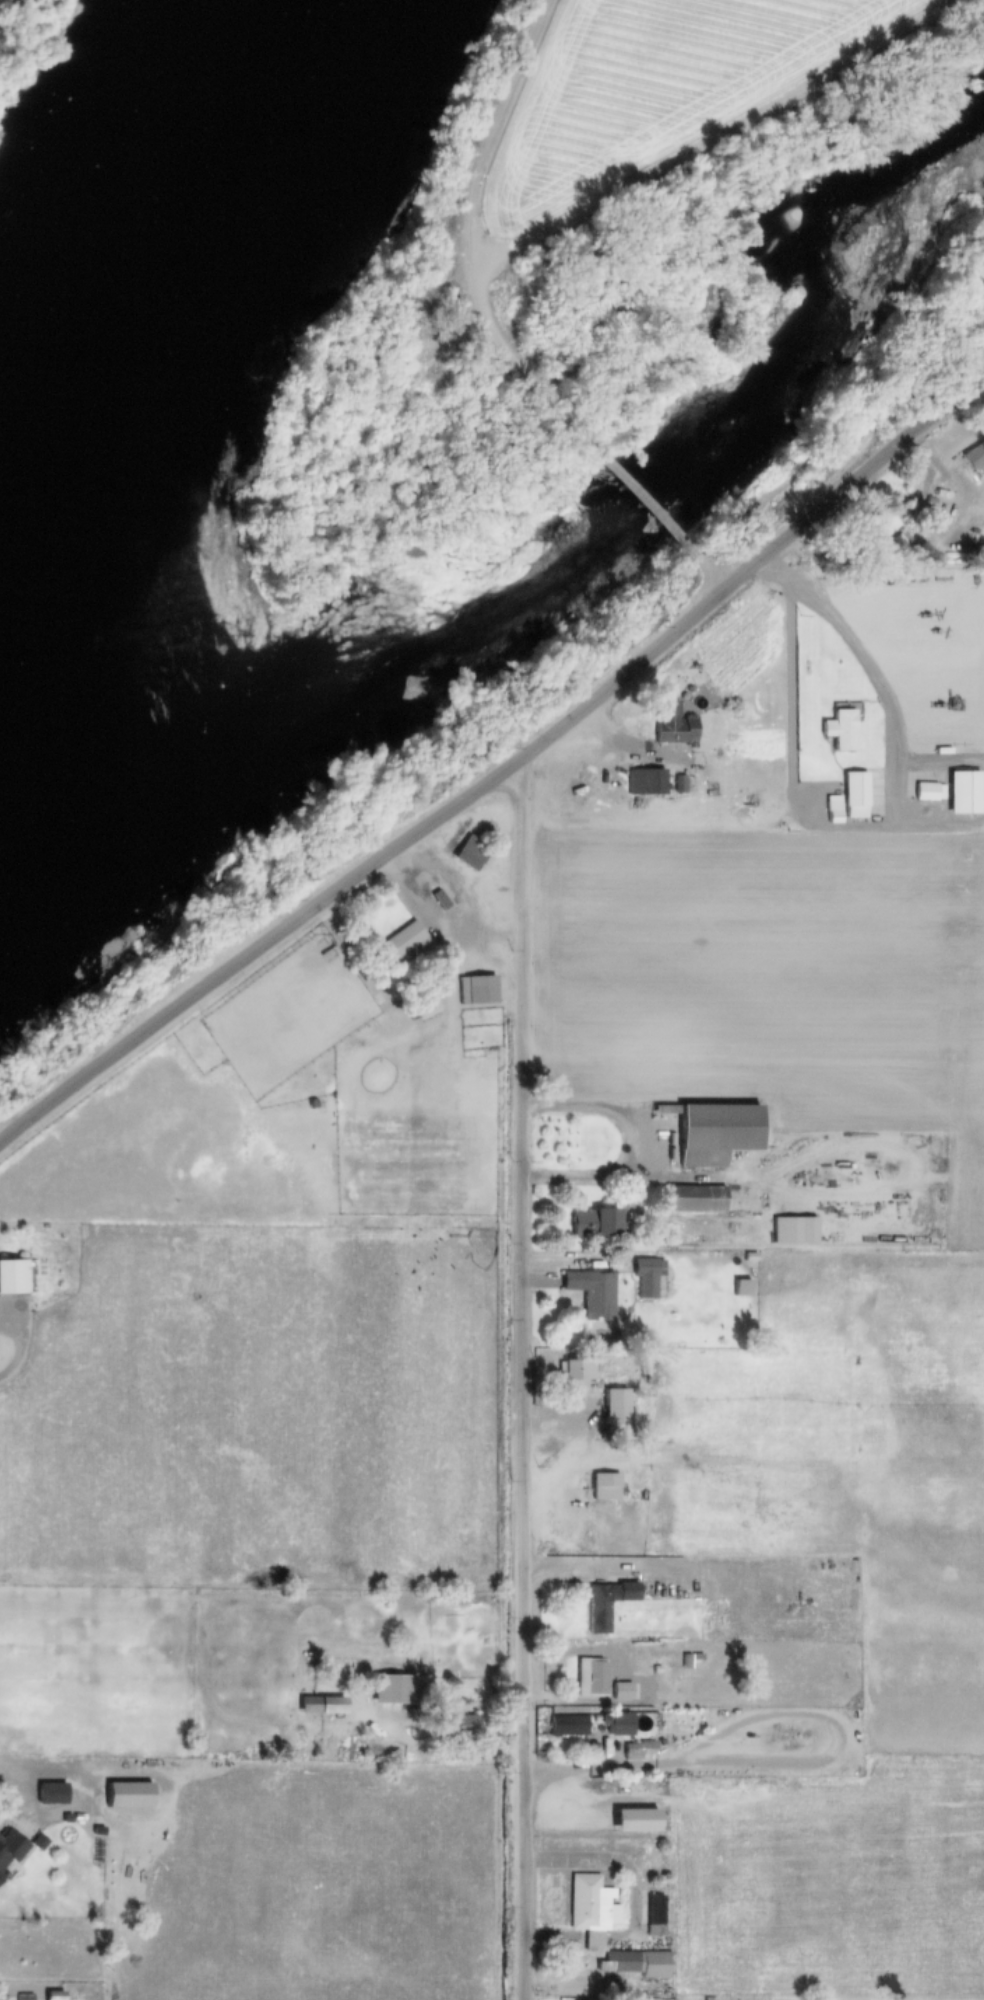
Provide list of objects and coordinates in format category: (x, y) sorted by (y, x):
road: (715, 142)
road: (460, 242)
river: (139, 262)
building: (974, 458)
road: (644, 500)
building: (875, 529)
road: (707, 567)
road: (855, 652)
building: (673, 725)
building: (840, 730)
road: (499, 774)
building: (645, 782)
building: (678, 785)
building: (929, 792)
building: (964, 793)
building: (855, 795)
building: (470, 853)
building: (401, 945)
building: (716, 1134)
road: (623, 1146)
building: (696, 1200)
building: (594, 1223)
building: (793, 1231)
building: (13, 1277)
building: (646, 1277)
building: (592, 1293)
building: (576, 1377)
road: (518, 1379)
building: (551, 1537)
building: (730, 1538)
building: (606, 1603)
building: (649, 1660)
building: (591, 1679)
building: (621, 1692)
building: (321, 1706)
building: (617, 1723)
building: (570, 1725)
building: (457, 1726)
building: (638, 1751)
road: (437, 1753)
building: (51, 1794)
building: (128, 1796)
building: (10, 1849)
building: (1, 1878)
building: (591, 1910)
building: (638, 1964)
building: (24, 1996)
building: (53, 1996)

